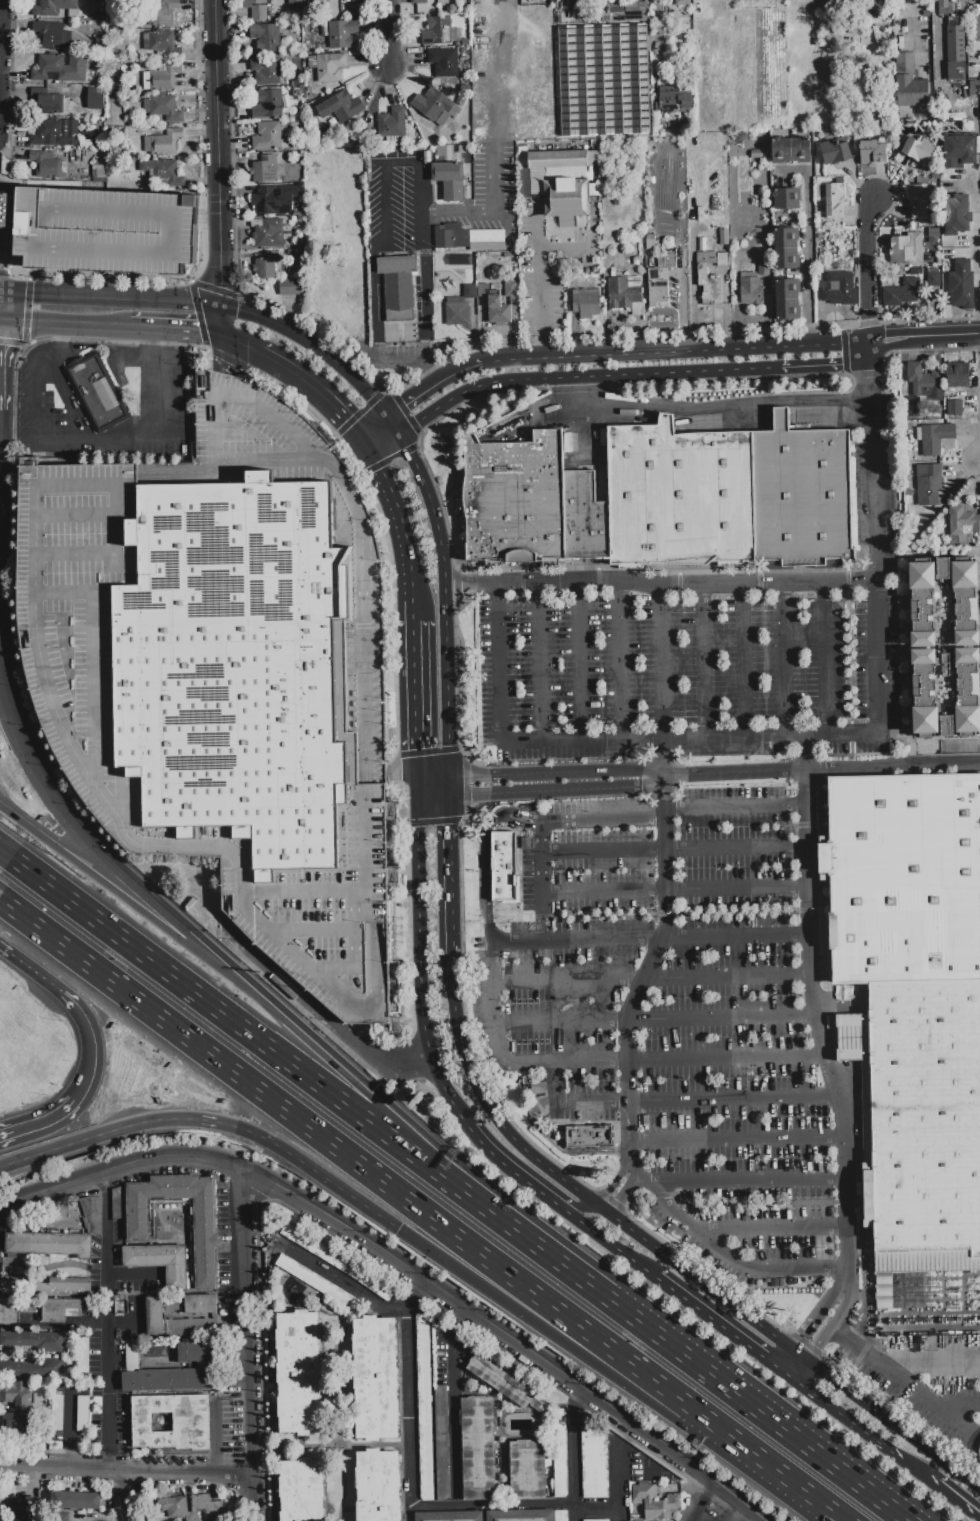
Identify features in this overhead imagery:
road: (0, 0)
building: (417, 1)
building: (682, 2)
building: (359, 3)
building: (297, 4)
building: (755, 4)
building: (702, 6)
building: (979, 6)
building: (53, 7)
building: (635, 7)
building: (944, 7)
building: (453, 8)
building: (256, 9)
building: (616, 9)
building: (161, 12)
building: (978, 29)
building: (440, 31)
building: (49, 34)
building: (342, 34)
road: (391, 34)
road: (935, 35)
building: (265, 38)
building: (160, 39)
building: (465, 42)
building: (955, 50)
building: (312, 62)
building: (444, 62)
building: (60, 67)
building: (329, 67)
building: (265, 70)
building: (713, 76)
building: (161, 77)
building: (755, 78)
building: (604, 79)
building: (906, 84)
building: (974, 88)
building: (95, 98)
building: (461, 100)
building: (674, 101)
building: (50, 103)
building: (267, 104)
building: (435, 106)
building: (161, 107)
building: (342, 107)
building: (392, 123)
building: (93, 126)
building: (55, 132)
building: (269, 137)
building: (99, 142)
building: (162, 142)
building: (88, 144)
building: (918, 149)
building: (791, 150)
building: (959, 151)
road: (217, 153)
building: (834, 153)
building: (872, 153)
building: (48, 164)
road: (398, 165)
building: (160, 169)
building: (264, 169)
building: (99, 173)
building: (450, 180)
building: (560, 183)
building: (787, 199)
building: (271, 201)
building: (834, 201)
parking lot: (398, 202)
building: (918, 202)
building: (9, 206)
road: (493, 212)
building: (956, 215)
building: (403, 216)
building: (107, 227)
parking garage: (107, 227)
building: (934, 233)
building: (269, 234)
road: (3, 235)
building: (451, 236)
building: (722, 237)
building: (649, 242)
building: (487, 243)
building: (786, 249)
building: (906, 249)
road: (565, 250)
road: (692, 255)
road: (977, 256)
building: (706, 258)
building: (926, 258)
building: (722, 260)
road: (806, 260)
building: (638, 261)
building: (669, 261)
building: (938, 261)
building: (265, 265)
parking lot: (548, 267)
building: (763, 268)
building: (913, 272)
building: (956, 276)
road: (870, 279)
building: (933, 279)
road: (540, 282)
building: (398, 286)
building: (291, 287)
building: (709, 287)
traffic signals: (220, 288)
building: (510, 288)
building: (656, 289)
building: (840, 289)
building: (469, 291)
building: (750, 291)
building: (901, 293)
building: (625, 296)
road: (110, 299)
building: (787, 300)
building: (330, 302)
building: (586, 303)
road: (377, 304)
road: (426, 306)
building: (498, 311)
building: (457, 312)
traffic signals: (239, 313)
road: (223, 324)
road: (28, 326)
road: (94, 328)
road: (144, 330)
road: (193, 330)
traffic signals: (198, 331)
road: (954, 334)
road: (160, 337)
road: (899, 337)
road: (57, 346)
road: (242, 348)
road: (314, 348)
road: (899, 348)
road: (979, 350)
road: (709, 353)
road: (226, 357)
road: (409, 358)
traffic signals: (227, 363)
road: (826, 367)
road: (461, 373)
road: (582, 379)
building: (957, 379)
building: (916, 387)
building: (95, 393)
road: (34, 394)
road: (317, 394)
road: (69, 402)
traffic signals: (407, 406)
road: (716, 408)
building: (954, 408)
traffic signals: (345, 421)
road: (393, 428)
road: (376, 433)
road: (142, 437)
building: (934, 438)
road: (381, 441)
road: (977, 450)
traffic signals: (409, 453)
road: (873, 471)
building: (927, 484)
building: (802, 494)
building: (679, 495)
building: (514, 499)
building: (584, 518)
building: (962, 525)
road: (403, 529)
road: (439, 537)
road: (661, 589)
building: (920, 653)
parking lot: (678, 657)
road: (824, 661)
road: (621, 662)
road: (783, 662)
road: (579, 663)
road: (743, 663)
building: (945, 664)
road: (539, 665)
road: (703, 665)
road: (661, 666)
building: (226, 676)
road: (415, 696)
road: (447, 713)
road: (686, 741)
traffic signals: (416, 750)
road: (821, 770)
traffic signals: (390, 772)
road: (400, 772)
road: (596, 773)
road: (432, 777)
road: (488, 779)
traffic signals: (469, 780)
road: (416, 786)
road: (449, 790)
road: (558, 793)
road: (433, 799)
road: (736, 808)
road: (72, 821)
road: (542, 822)
traffic signals: (451, 824)
road: (737, 849)
road: (604, 855)
road: (487, 858)
building: (503, 863)
road: (95, 875)
road: (452, 875)
building: (902, 882)
road: (675, 888)
road: (651, 937)
road: (655, 954)
road: (31, 972)
road: (650, 978)
parking lot: (720, 980)
road: (421, 983)
road: (181, 986)
road: (303, 996)
road: (490, 1005)
road: (812, 1007)
road: (654, 1018)
road: (460, 1037)
road: (91, 1043)
road: (317, 1050)
road: (401, 1058)
road: (667, 1059)
road: (680, 1099)
building: (922, 1113)
road: (297, 1122)
road: (43, 1126)
road: (232, 1129)
building: (588, 1136)
road: (738, 1141)
road: (396, 1144)
road: (558, 1149)
road: (119, 1165)
road: (520, 1180)
road: (742, 1181)
road: (610, 1191)
road: (613, 1207)
road: (772, 1230)
building: (204, 1236)
road: (607, 1243)
building: (48, 1244)
building: (337, 1261)
road: (734, 1261)
building: (159, 1262)
road: (128, 1272)
building: (316, 1282)
building: (46, 1284)
road: (344, 1285)
road: (839, 1287)
building: (172, 1304)
building: (200, 1304)
road: (731, 1307)
building: (60, 1309)
building: (8, 1312)
building: (155, 1317)
road: (483, 1320)
road: (106, 1322)
road: (249, 1322)
building: (191, 1327)
road: (829, 1329)
road: (724, 1330)
road: (803, 1337)
building: (33, 1341)
road: (668, 1345)
road: (855, 1346)
building: (86, 1351)
road: (585, 1358)
road: (930, 1362)
building: (31, 1369)
building: (174, 1369)
building: (299, 1373)
building: (376, 1378)
building: (503, 1383)
road: (450, 1393)
building: (15, 1395)
road: (667, 1396)
road: (927, 1401)
building: (424, 1407)
road: (958, 1407)
building: (190, 1422)
building: (15, 1423)
building: (76, 1429)
road: (859, 1429)
building: (441, 1442)
building: (478, 1449)
building: (558, 1454)
road: (578, 1458)
building: (595, 1463)
building: (527, 1469)
road: (126, 1470)
building: (378, 1485)
road: (789, 1485)
building: (302, 1490)
road: (620, 1490)
road: (413, 1493)
road: (120, 1495)
road: (950, 1495)
road: (732, 1497)
road: (253, 1498)
building: (77, 1500)
road: (703, 1502)
building: (655, 1503)
building: (172, 1507)
building: (23, 1509)
building: (520, 1515)
building: (560, 1515)
building: (61, 1516)
building: (449, 1516)
road: (977, 1516)
road: (749, 1517)
road: (758, 1517)
building: (596, 1520)

